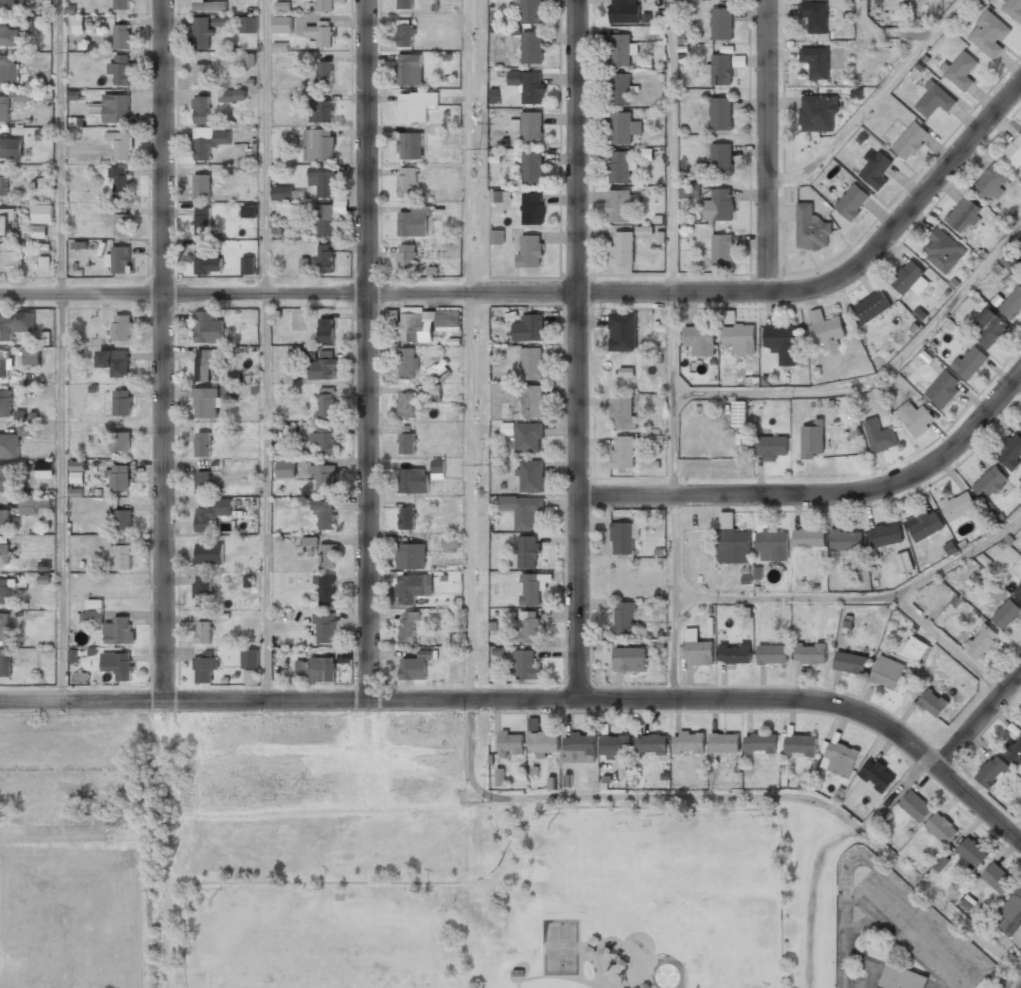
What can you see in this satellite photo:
building: (7, 4)
building: (121, 4)
building: (404, 4)
building: (325, 5)
building: (209, 6)
building: (1013, 9)
building: (530, 12)
building: (622, 12)
building: (814, 16)
building: (221, 21)
building: (721, 24)
building: (78, 25)
building: (248, 25)
building: (281, 25)
building: (201, 33)
building: (405, 34)
road: (884, 34)
building: (988, 34)
building: (9, 35)
building: (318, 36)
building: (120, 37)
building: (532, 48)
building: (620, 51)
building: (815, 62)
building: (8, 68)
building: (119, 69)
building: (409, 70)
building: (720, 70)
building: (961, 70)
building: (324, 73)
building: (201, 74)
building: (531, 88)
building: (620, 90)
building: (22, 95)
building: (226, 96)
building: (932, 99)
road: (871, 102)
building: (414, 106)
building: (3, 109)
building: (115, 109)
building: (200, 110)
building: (321, 111)
building: (818, 113)
building: (720, 114)
building: (623, 128)
building: (531, 129)
building: (43, 134)
building: (910, 140)
building: (120, 144)
building: (208, 145)
building: (318, 145)
road: (765, 145)
building: (410, 146)
building: (10, 148)
building: (1013, 154)
building: (720, 158)
building: (619, 167)
building: (531, 168)
building: (876, 170)
building: (119, 180)
building: (321, 181)
building: (406, 181)
building: (3, 182)
building: (989, 183)
building: (202, 186)
building: (689, 189)
building: (281, 193)
building: (500, 196)
building: (852, 201)
building: (722, 203)
building: (619, 206)
building: (531, 208)
building: (41, 214)
building: (963, 215)
building: (202, 220)
building: (414, 220)
building: (324, 221)
building: (5, 222)
building: (121, 224)
building: (811, 229)
building: (37, 233)
building: (496, 237)
building: (622, 248)
building: (530, 250)
building: (722, 250)
building: (943, 250)
building: (405, 257)
building: (9, 259)
building: (119, 259)
building: (324, 259)
building: (207, 260)
building: (1010, 262)
building: (43, 263)
building: (246, 265)
building: (304, 265)
building: (908, 278)
road: (738, 291)
road: (182, 292)
building: (1012, 303)
building: (871, 306)
building: (426, 324)
building: (7, 326)
building: (121, 327)
building: (208, 327)
building: (528, 328)
building: (325, 330)
building: (827, 331)
building: (622, 332)
building: (991, 332)
building: (739, 339)
building: (699, 340)
building: (782, 343)
road: (469, 348)
road: (576, 348)
road: (673, 348)
road: (365, 349)
road: (60, 350)
road: (161, 350)
road: (265, 350)
building: (308, 353)
building: (32, 356)
building: (114, 361)
building: (969, 361)
building: (204, 363)
building: (407, 363)
building: (531, 363)
building: (3, 364)
building: (322, 367)
road: (878, 375)
building: (943, 388)
building: (432, 391)
building: (532, 401)
building: (121, 403)
building: (205, 403)
building: (5, 404)
building: (405, 405)
building: (326, 406)
building: (622, 414)
building: (738, 414)
building: (915, 417)
building: (1020, 427)
building: (1020, 428)
building: (879, 436)
building: (528, 437)
building: (322, 439)
building: (812, 439)
building: (121, 442)
building: (406, 444)
building: (9, 445)
building: (201, 445)
building: (770, 447)
building: (622, 452)
building: (1009, 452)
power tower: (484, 463)
building: (77, 465)
building: (44, 469)
building: (285, 469)
building: (438, 469)
building: (531, 476)
building: (76, 477)
building: (322, 477)
building: (5, 478)
building: (118, 478)
building: (413, 481)
building: (201, 482)
building: (989, 483)
road: (820, 496)
building: (305, 502)
building: (32, 504)
building: (957, 506)
building: (522, 509)
building: (211, 514)
building: (323, 515)
building: (3, 519)
building: (406, 519)
building: (123, 521)
building: (923, 525)
building: (884, 535)
building: (622, 538)
building: (808, 539)
building: (845, 540)
building: (310, 541)
building: (451, 543)
building: (771, 546)
building: (734, 547)
building: (950, 548)
building: (528, 551)
building: (122, 553)
building: (208, 553)
building: (4, 554)
building: (325, 556)
building: (410, 556)
road: (958, 556)
building: (904, 562)
building: (408, 588)
building: (202, 590)
building: (325, 590)
building: (530, 590)
building: (1018, 591)
building: (4, 592)
road: (784, 597)
building: (1005, 615)
building: (91, 618)
building: (624, 618)
building: (407, 627)
building: (529, 627)
building: (3, 628)
building: (324, 628)
building: (118, 631)
building: (202, 633)
building: (981, 642)
road: (948, 644)
building: (696, 648)
building: (916, 648)
building: (734, 653)
building: (772, 654)
building: (809, 654)
building: (628, 660)
building: (848, 663)
building: (526, 664)
building: (4, 665)
building: (248, 665)
building: (116, 667)
building: (412, 669)
building: (204, 670)
building: (321, 670)
building: (887, 673)
road: (534, 697)
building: (932, 703)
road: (978, 718)
building: (533, 725)
building: (543, 742)
building: (510, 743)
building: (687, 743)
building: (724, 743)
building: (760, 743)
building: (650, 744)
building: (800, 745)
building: (579, 747)
building: (614, 747)
building: (1015, 752)
building: (839, 759)
building: (991, 773)
building: (876, 775)
building: (499, 777)
power tower: (482, 799)
building: (914, 806)
road: (1015, 826)
building: (940, 828)
road: (510, 836)
building: (972, 853)
building: (941, 863)
park: (463, 869)
building: (998, 880)
building: (1010, 917)
park: (319, 950)
building: (516, 973)
building: (901, 978)
road: (517, 982)

